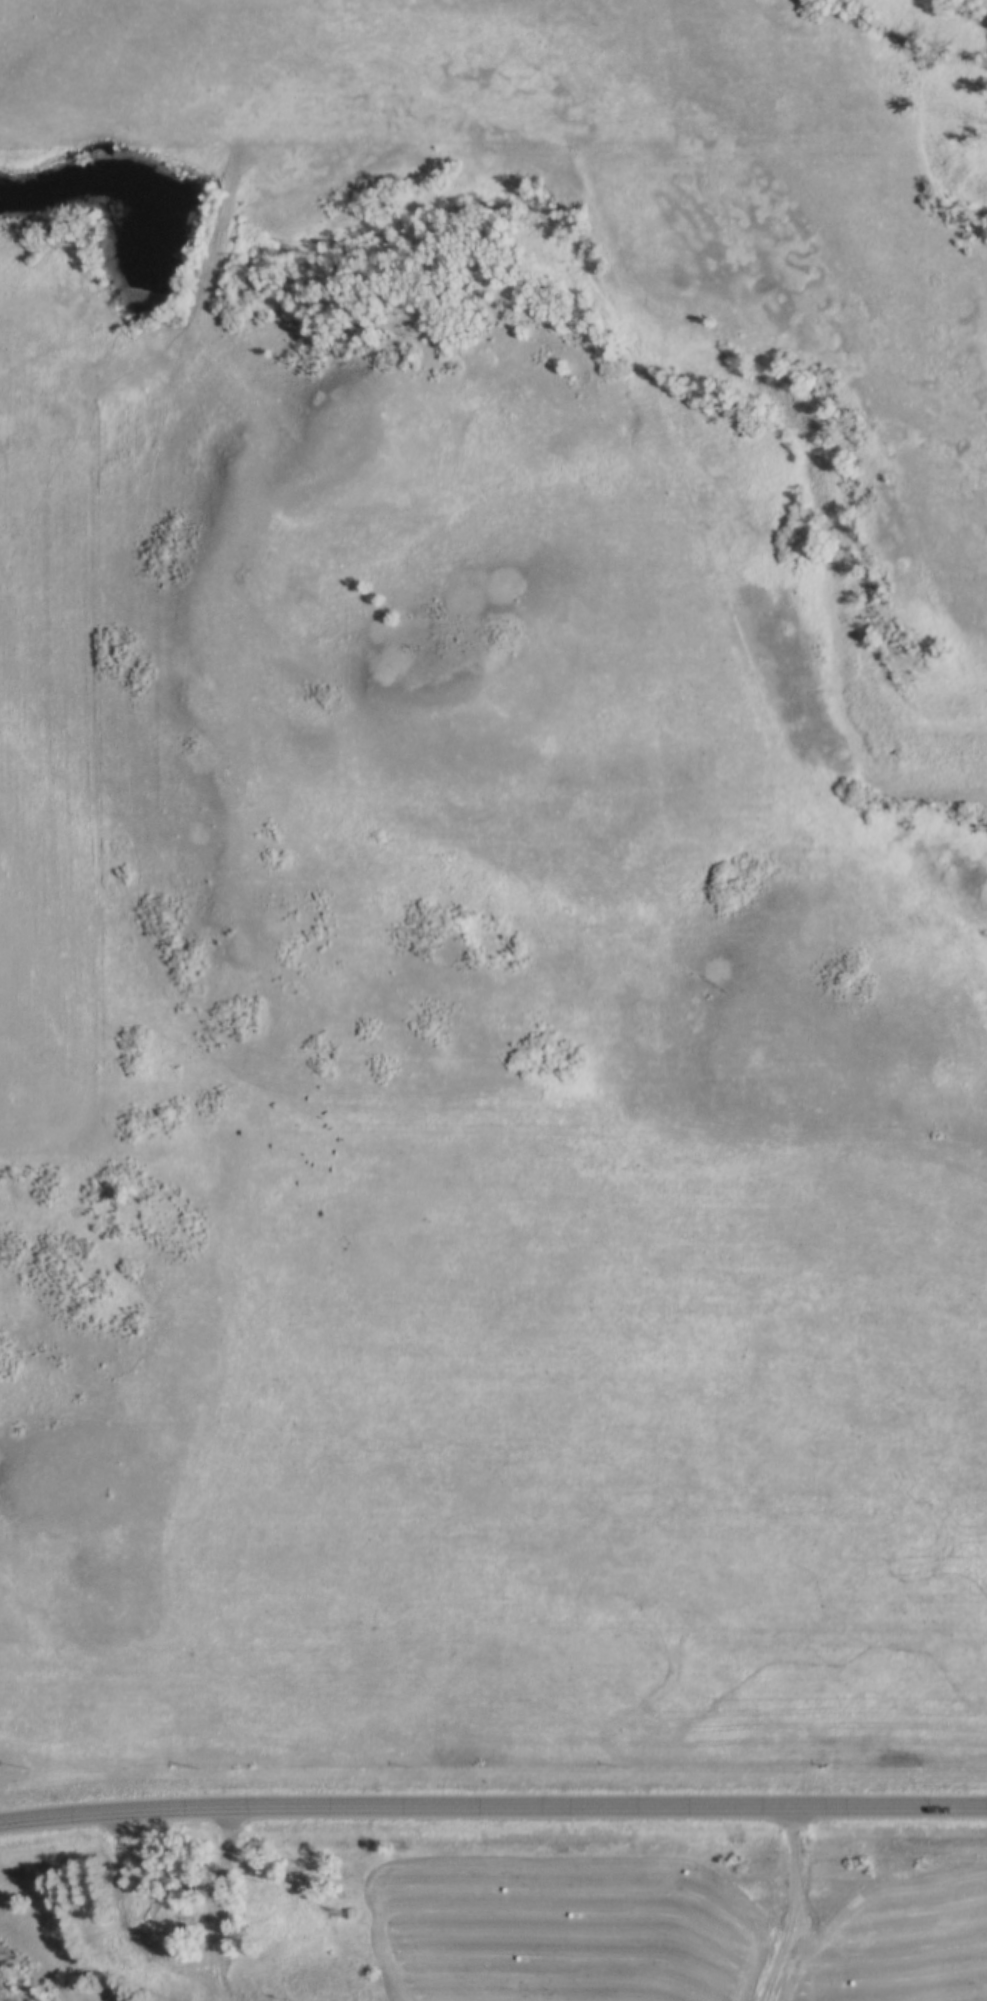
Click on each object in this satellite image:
road: (493, 1811)
building: (188, 1884)
building: (243, 1905)
building: (185, 1920)
road: (176, 1968)

